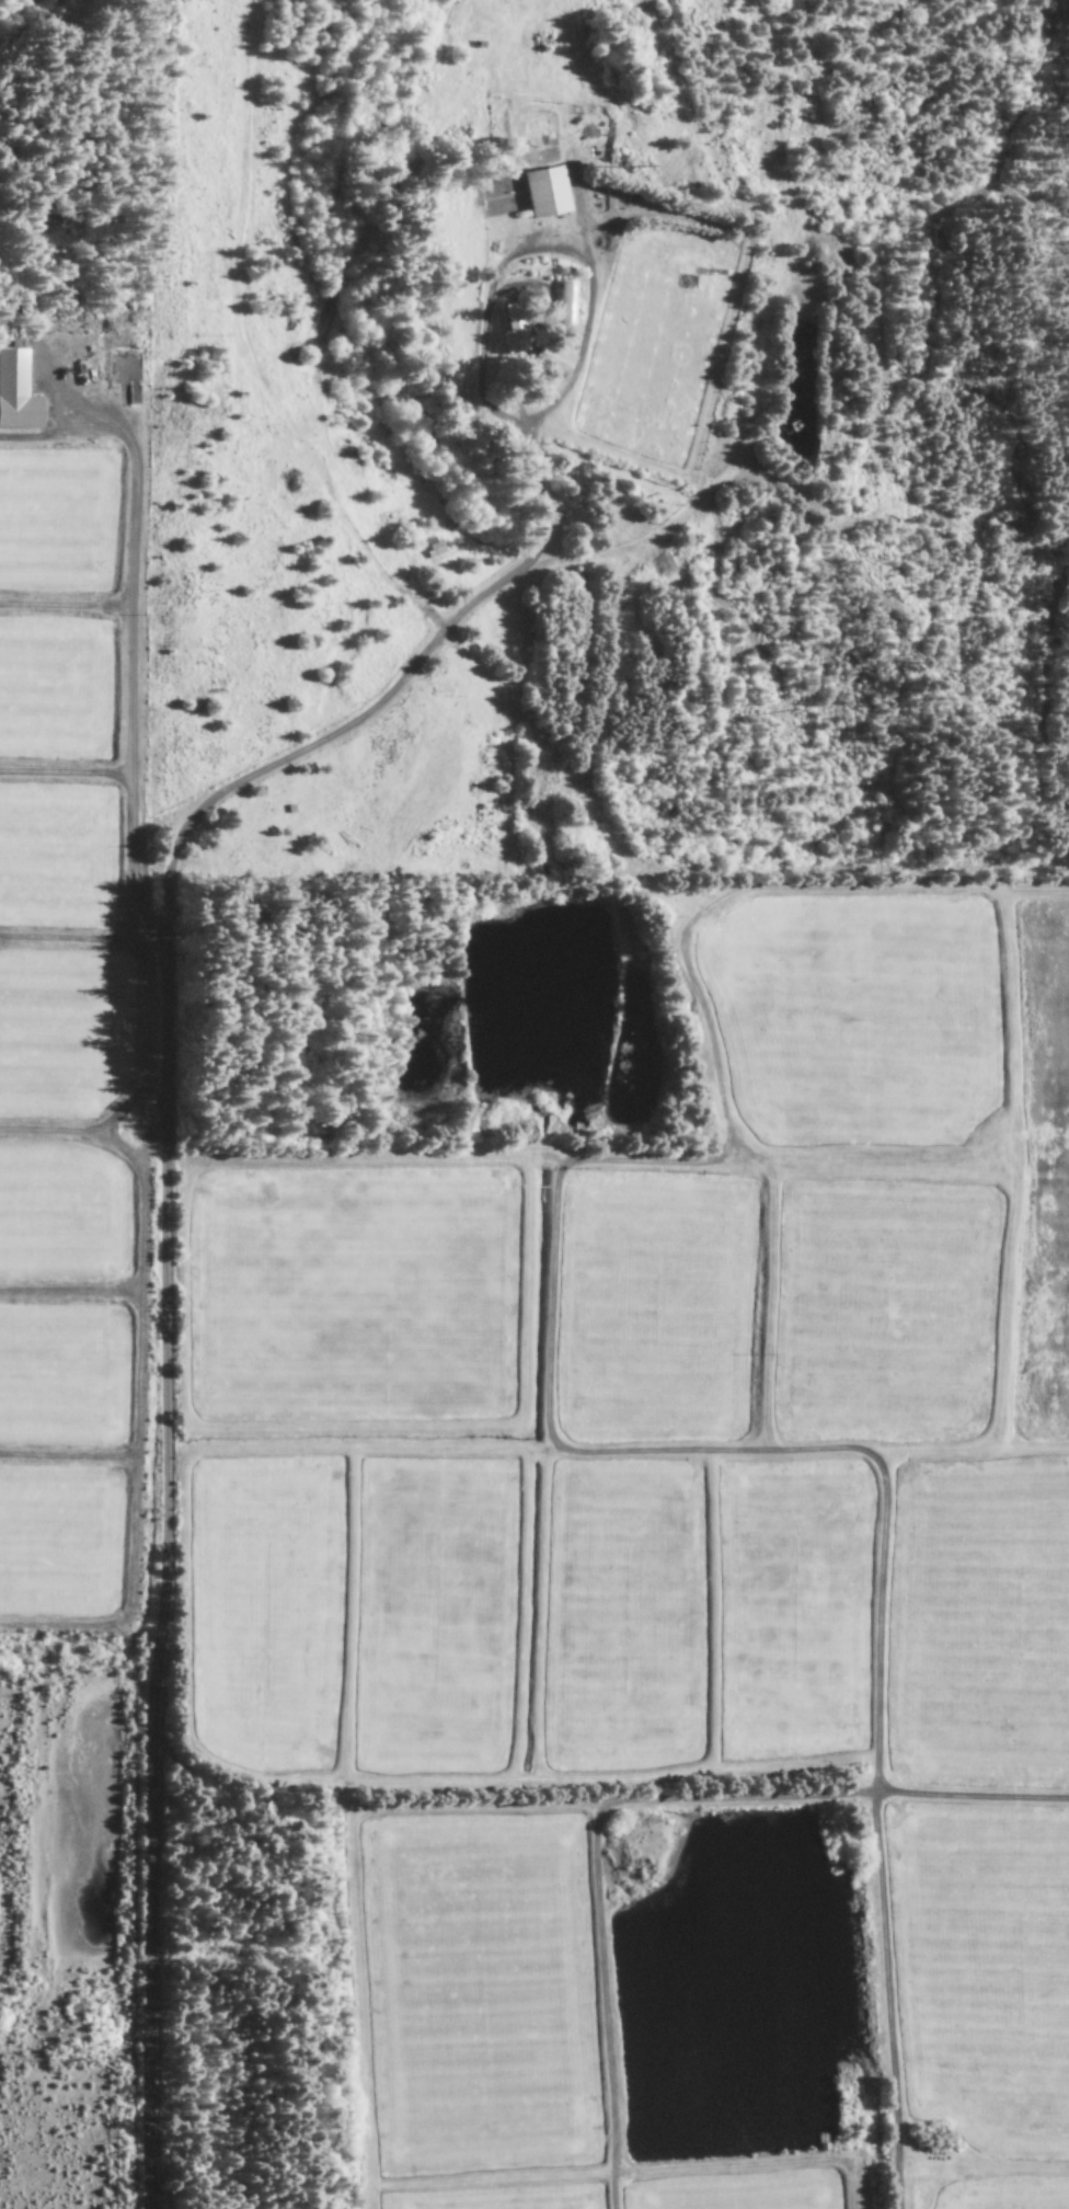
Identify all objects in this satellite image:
building: (542, 194)
building: (561, 306)
building: (508, 331)
building: (553, 363)
building: (14, 396)
crop: (53, 527)
crop: (55, 690)
crop: (55, 862)
crop: (852, 1019)
crop: (58, 1037)
crop: (1043, 1174)
road: (163, 1282)
crop: (350, 1298)
crop: (651, 1309)
crop: (883, 1313)
road: (762, 1408)
crop: (790, 1610)
crop: (262, 1614)
crop: (430, 1619)
crop: (620, 1619)
crop: (978, 1627)
road: (710, 1799)
crop: (981, 1973)
crop: (475, 1998)
crop: (735, 2194)
crop: (1003, 2194)
crop: (494, 2200)

